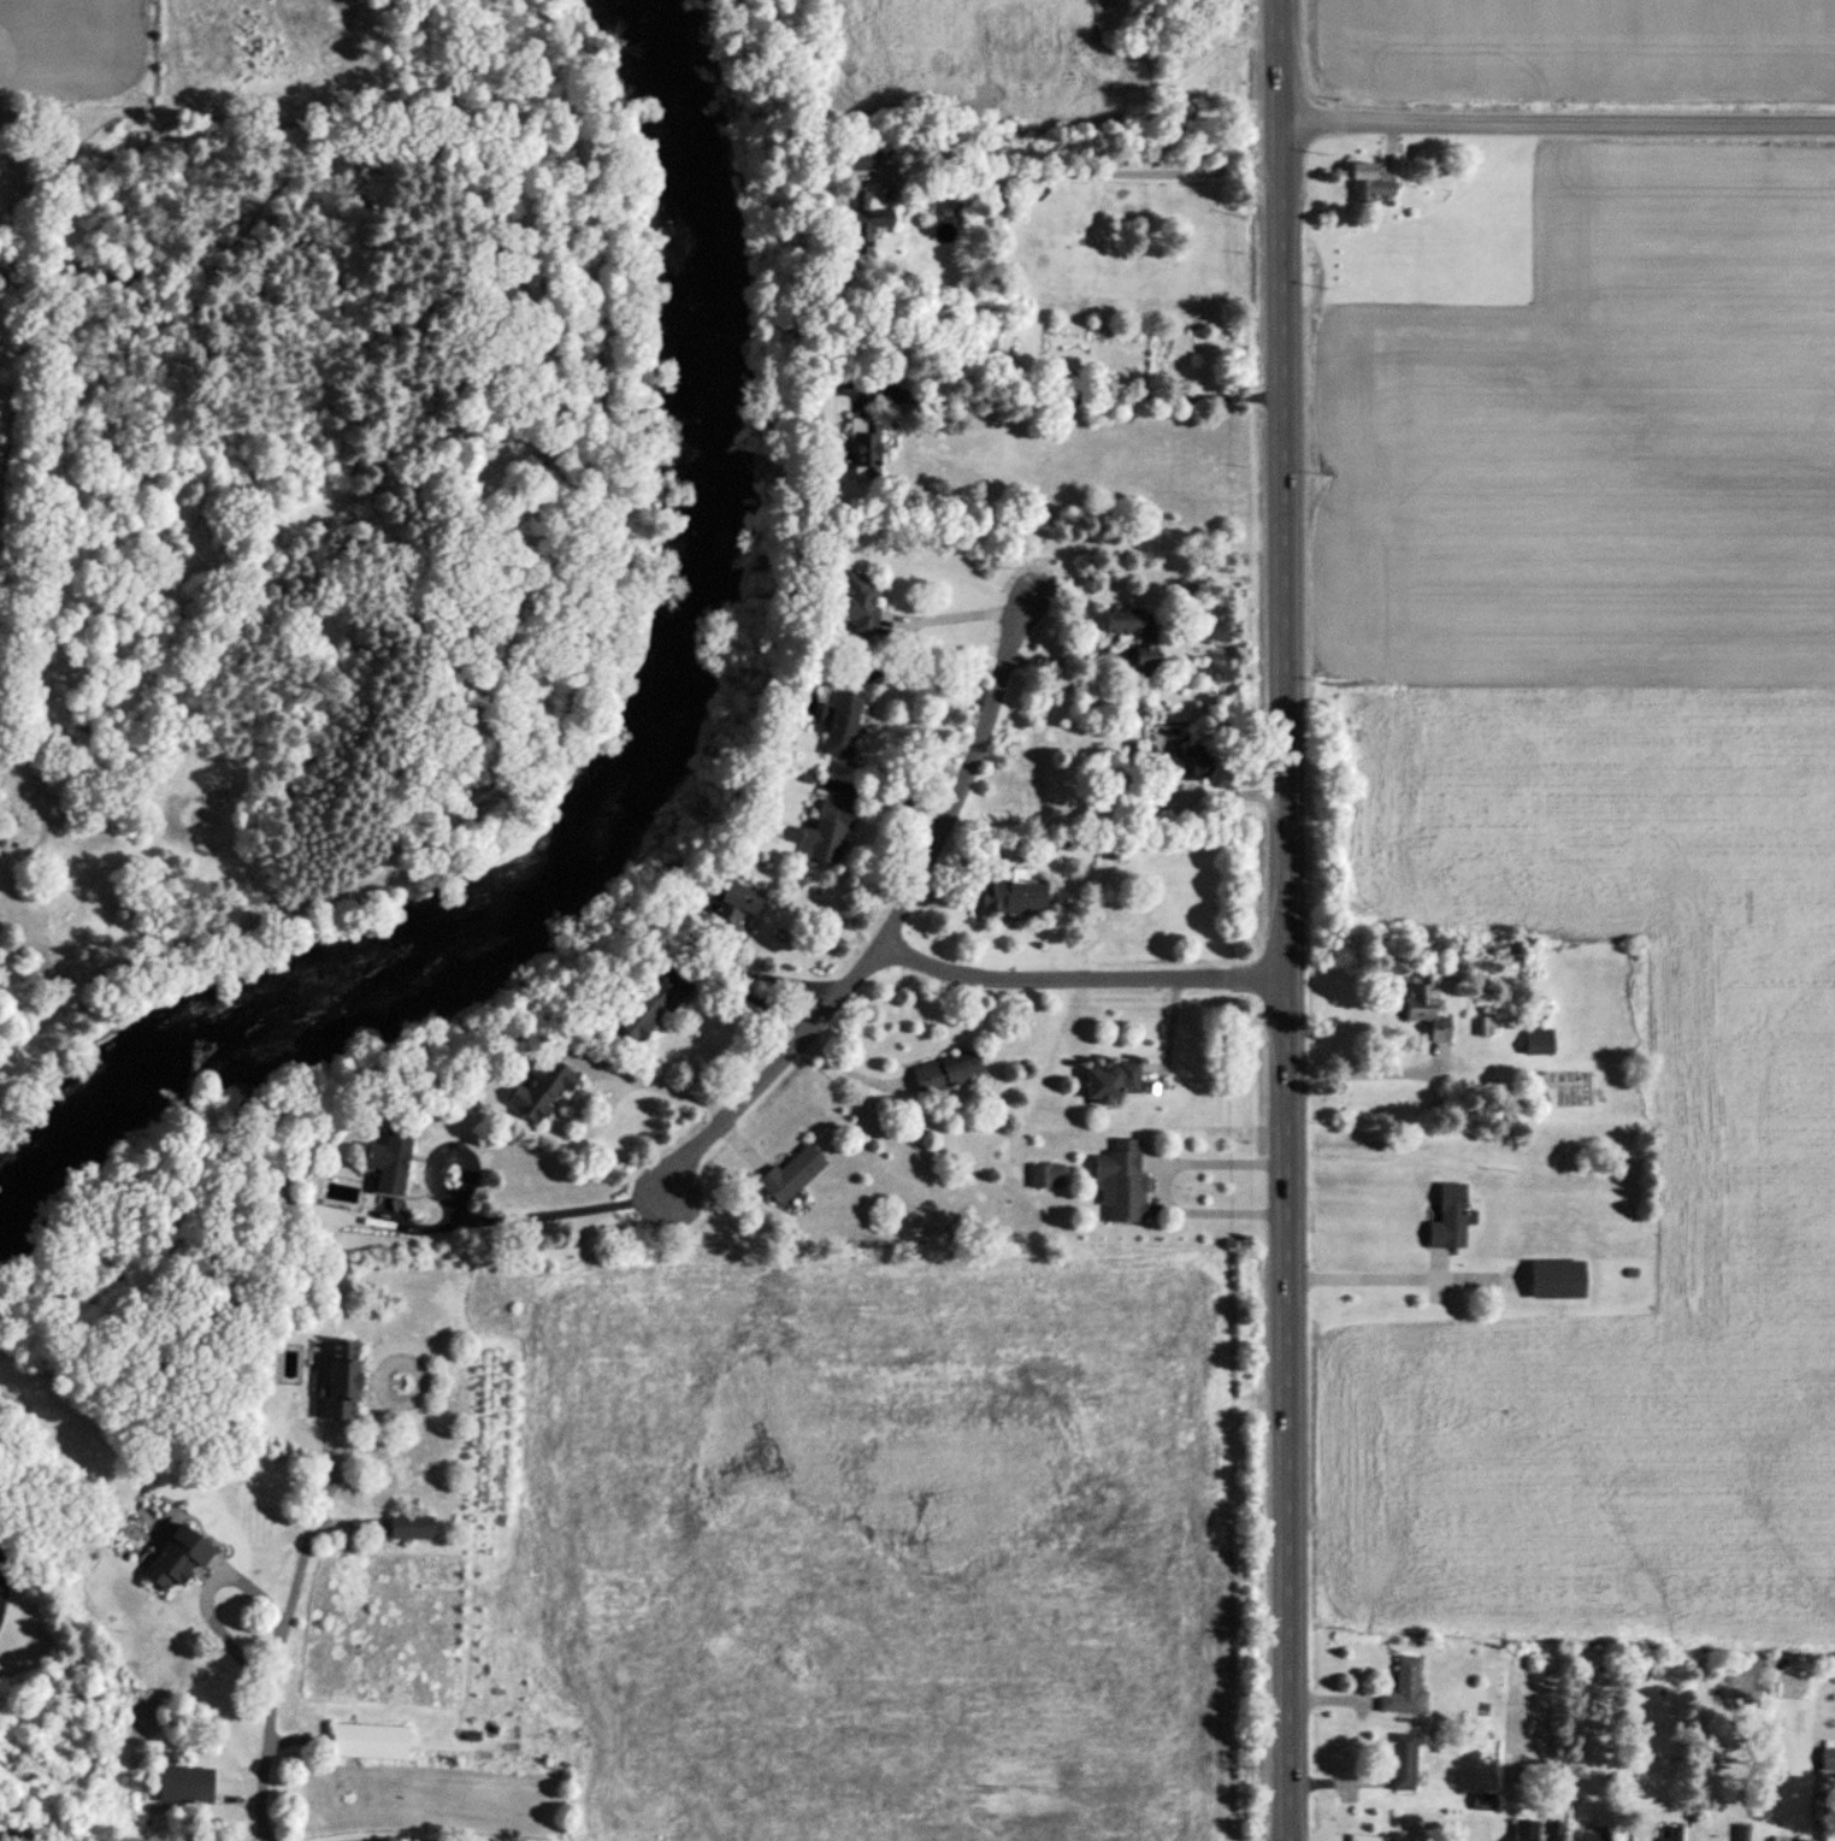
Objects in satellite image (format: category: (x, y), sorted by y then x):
building: (1017, 57)
road: (1560, 120)
building: (860, 159)
road: (1074, 175)
building: (1370, 182)
building: (866, 222)
road: (1066, 394)
building: (865, 444)
building: (856, 601)
road: (955, 615)
building: (1146, 650)
road: (1064, 660)
road: (927, 673)
building: (843, 719)
building: (1185, 763)
river: (633, 773)
building: (824, 833)
building: (1014, 898)
building: (727, 909)
road: (1291, 920)
road: (895, 921)
road: (786, 978)
road: (1084, 980)
building: (1420, 999)
building: (644, 1009)
building: (1539, 1043)
road: (1370, 1070)
road: (650, 1073)
building: (945, 1074)
building: (1111, 1081)
building: (537, 1090)
road: (455, 1152)
road: (1141, 1158)
building: (388, 1160)
building: (789, 1175)
building: (1046, 1176)
building: (1121, 1184)
road: (525, 1214)
building: (1448, 1220)
road: (1391, 1256)
building: (1556, 1281)
building: (338, 1381)
building: (409, 1529)
building: (176, 1560)
road: (272, 1634)
building: (1404, 1689)
building: (368, 1742)
building: (1404, 1763)
building: (1828, 1763)
building: (183, 1787)
building: (1483, 1804)
building: (1526, 1831)
road: (414, 1834)
building: (1675, 1835)
road: (61, 1837)
building: (1594, 1837)
building: (1364, 1839)
building: (1659, 1840)

